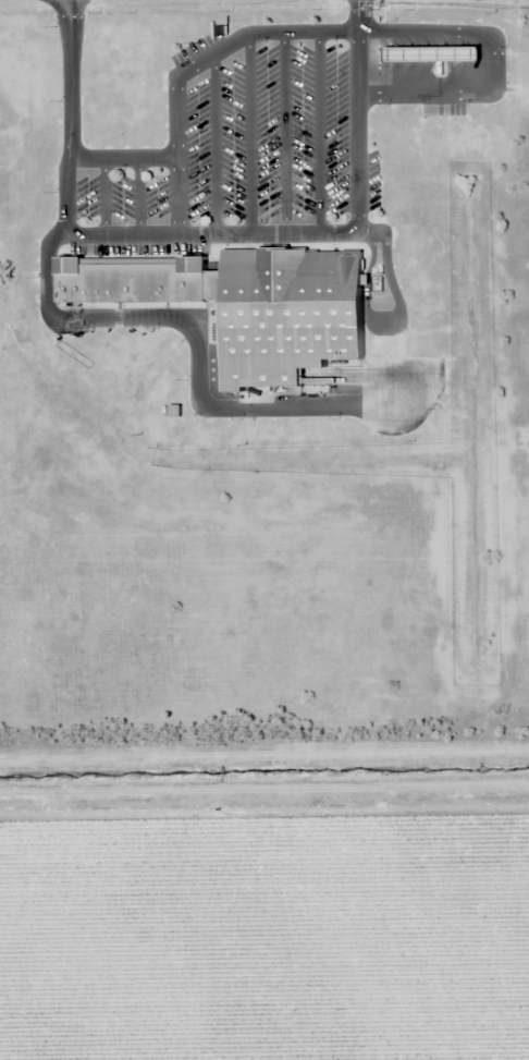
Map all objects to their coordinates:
gas station: (432, 52)

